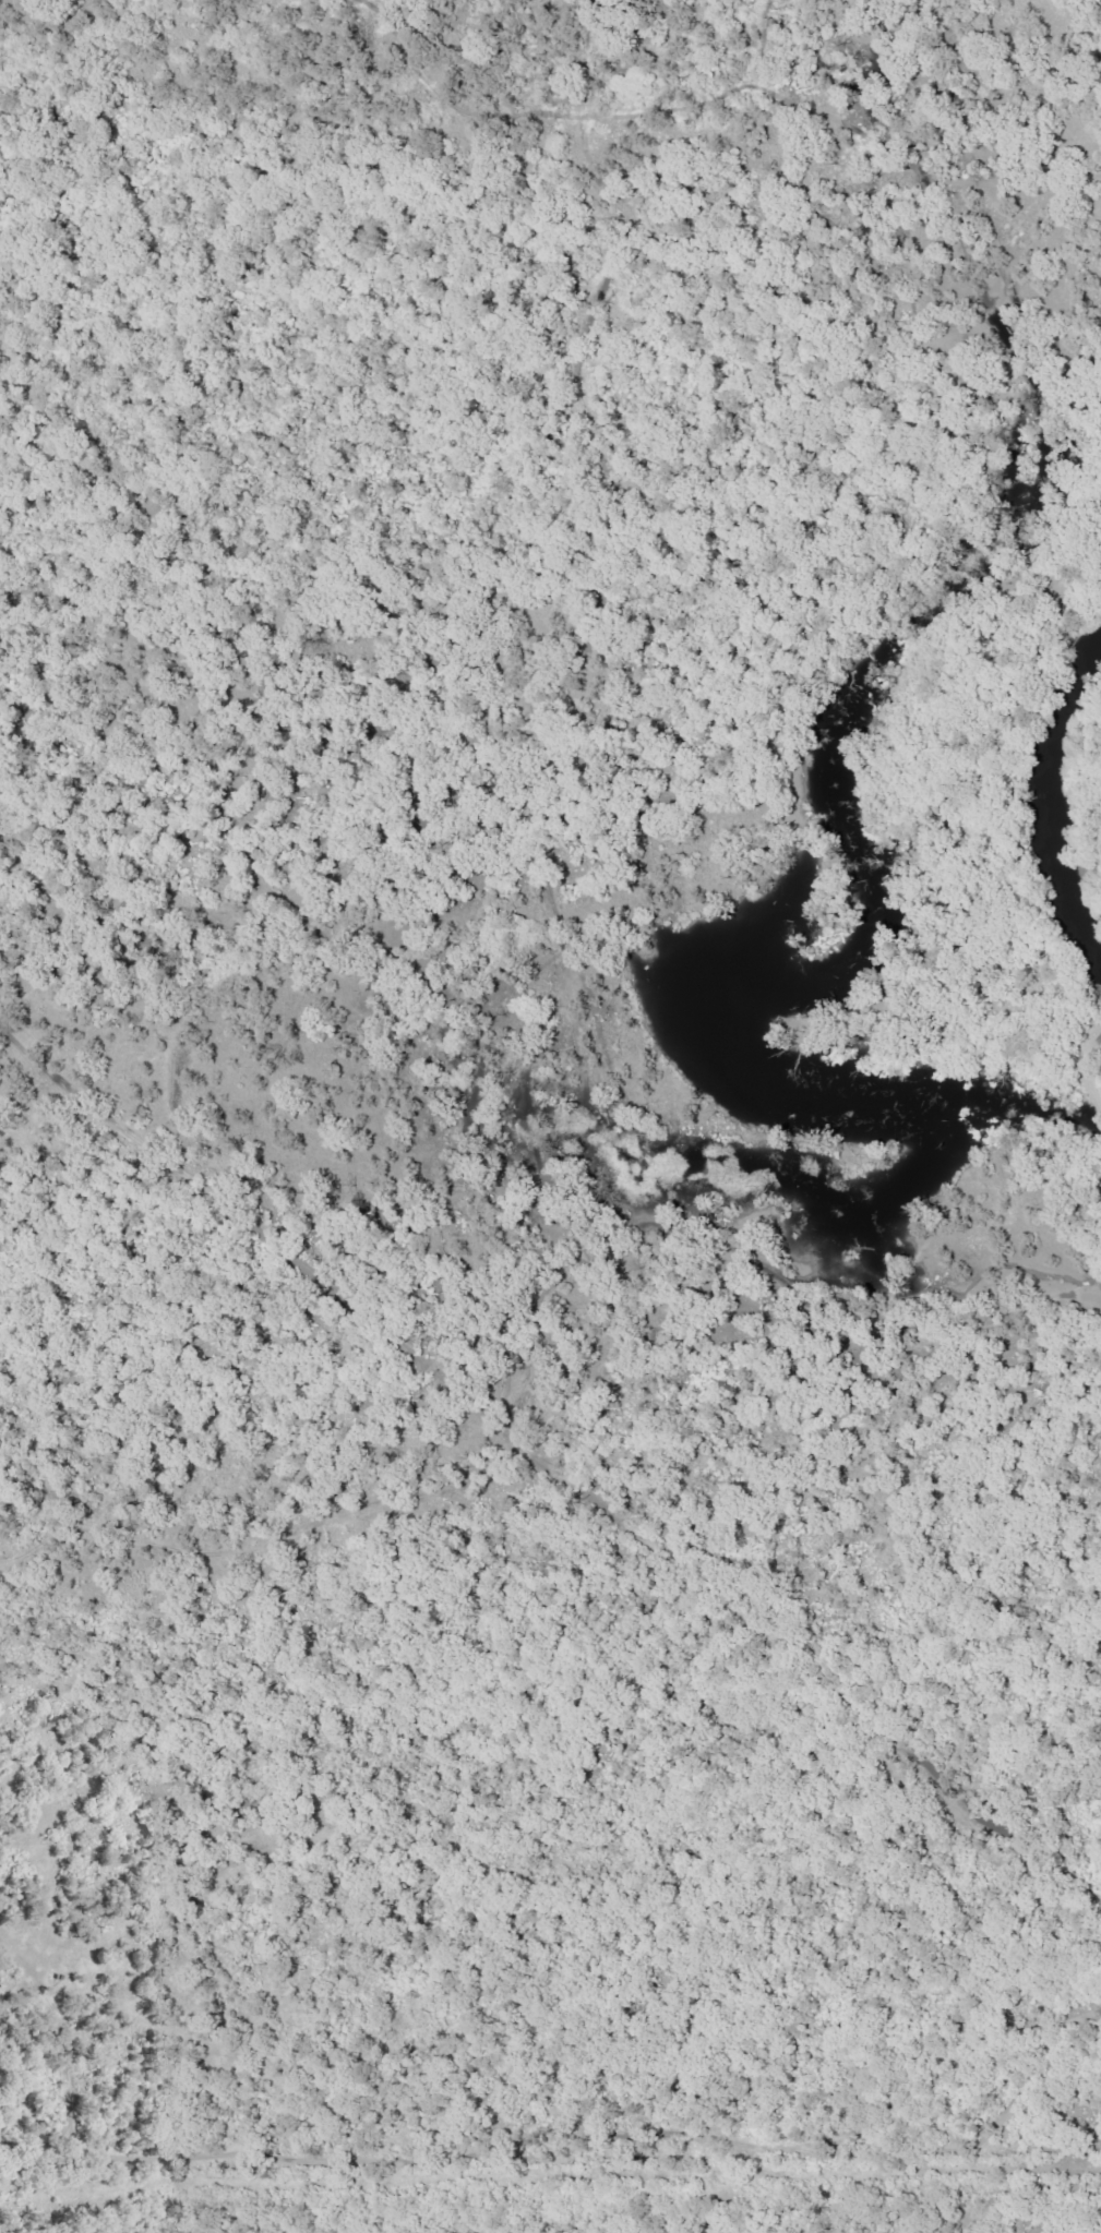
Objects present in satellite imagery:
river: (1034, 805)

